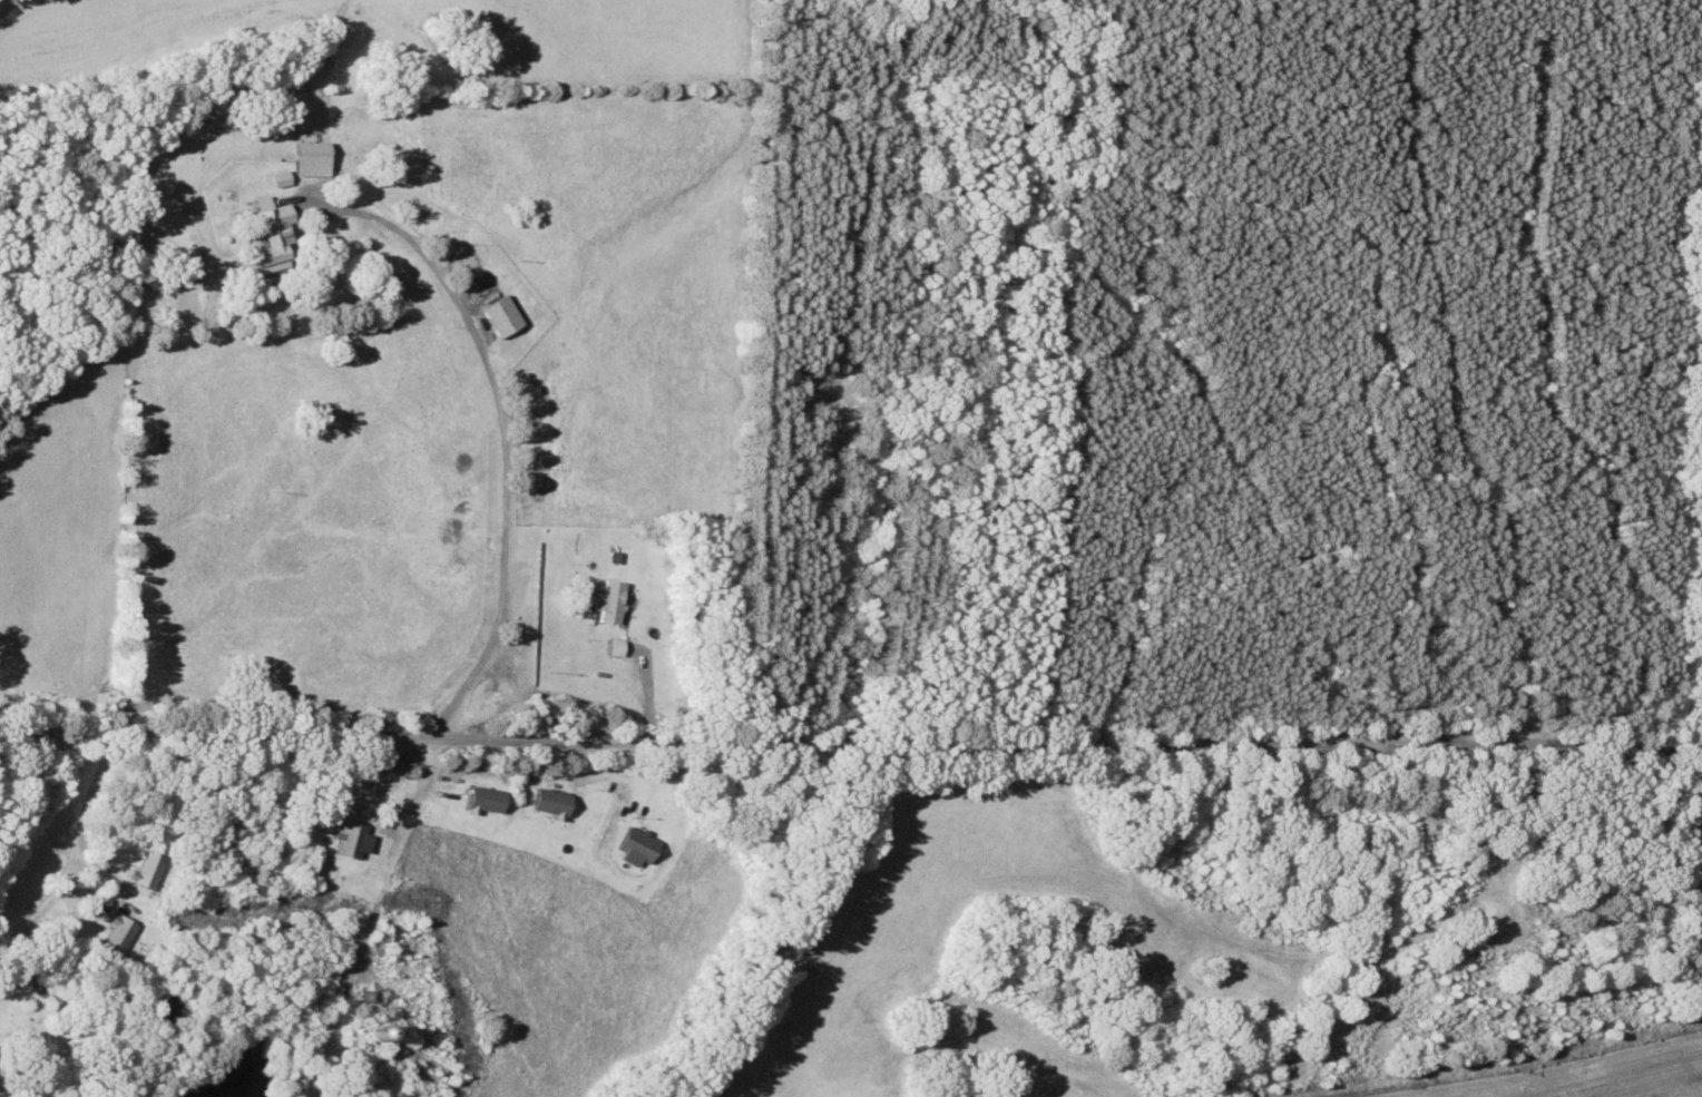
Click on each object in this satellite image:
building: (304, 151)
building: (275, 178)
building: (262, 236)
building: (473, 280)
building: (496, 316)
road: (505, 433)
building: (612, 601)
building: (617, 646)
road: (850, 748)
road: (49, 778)
building: (483, 801)
building: (550, 802)
building: (348, 840)
building: (636, 846)
building: (146, 871)
road: (373, 918)
building: (118, 936)
storage tank: (364, 996)
storage tank: (358, 1035)
building: (364, 1036)

